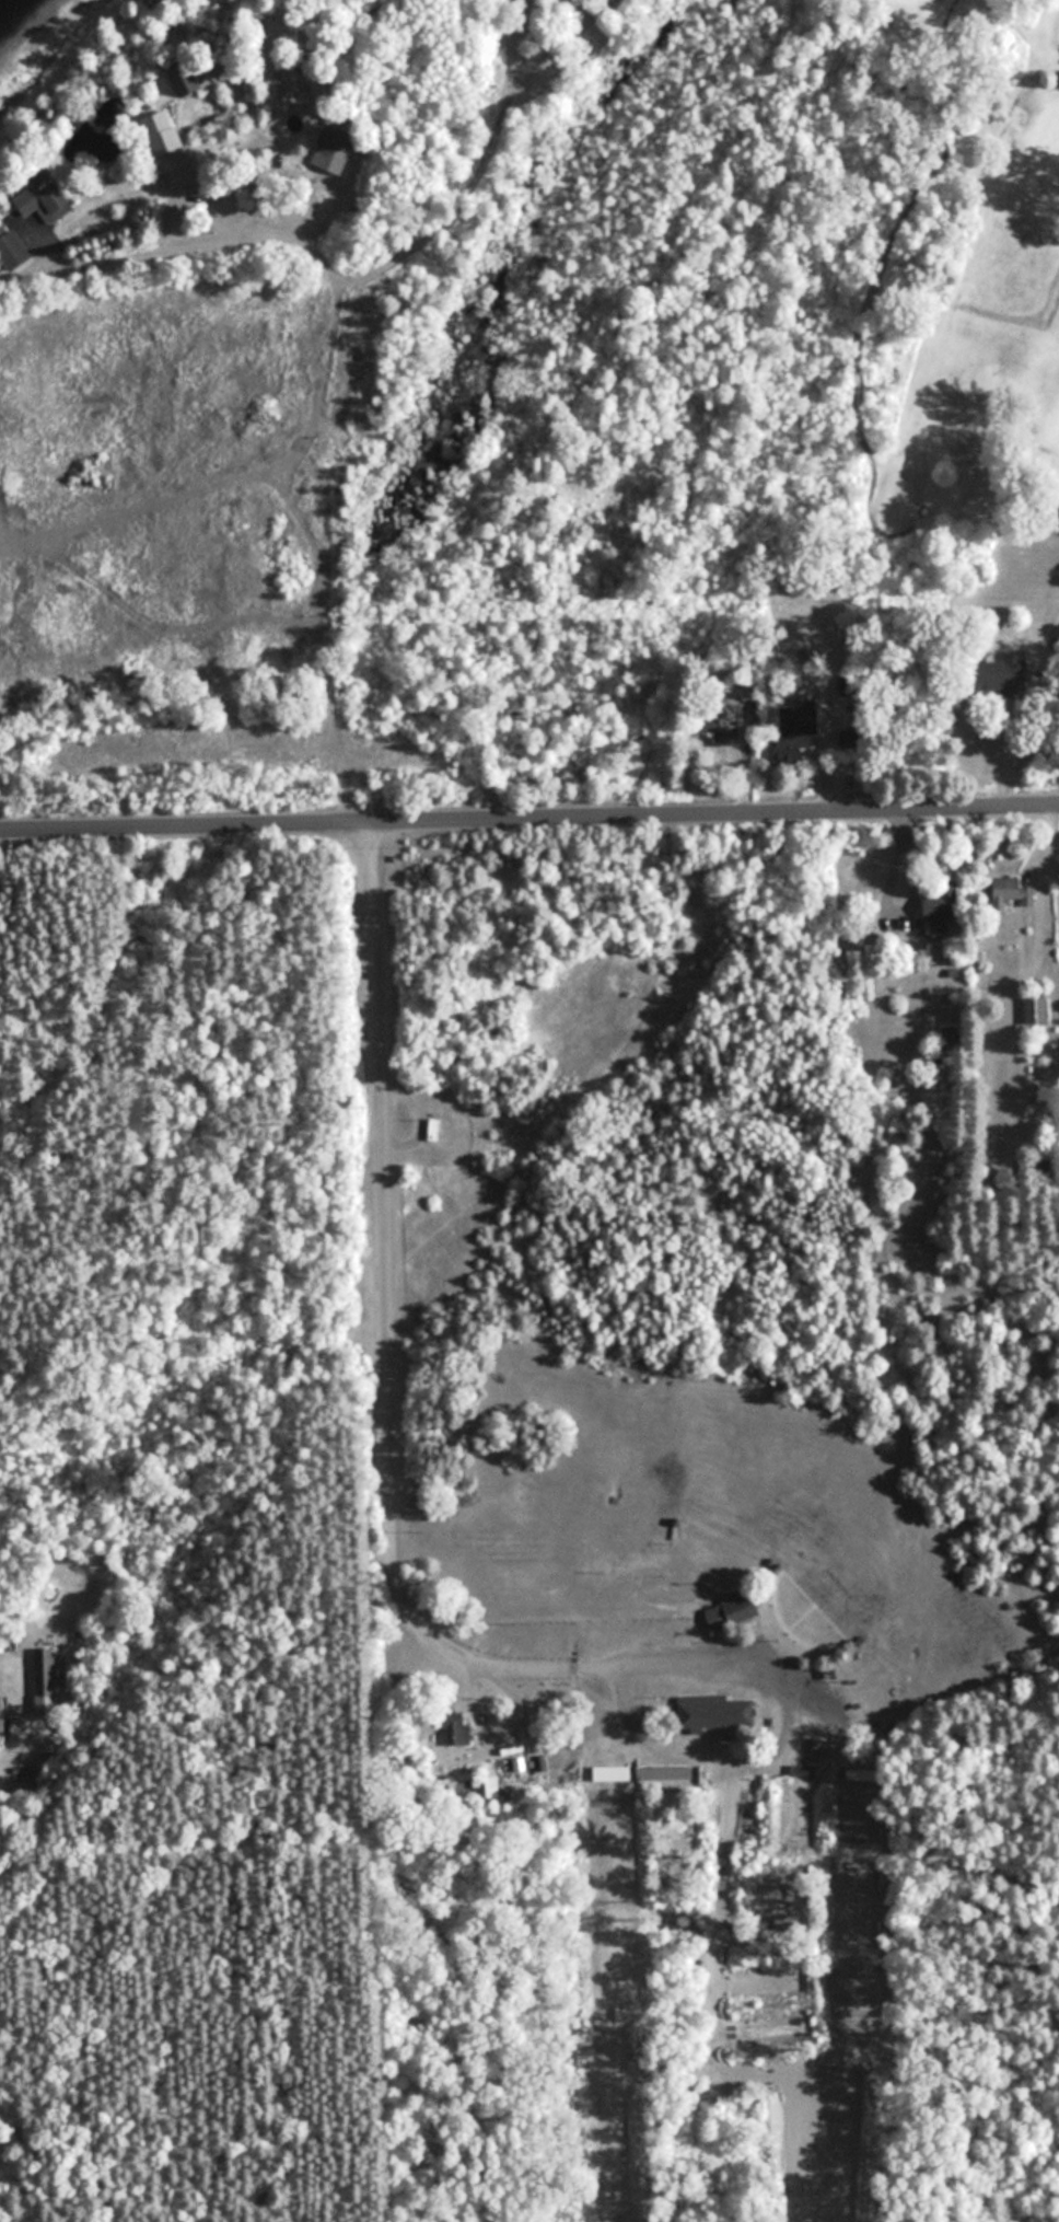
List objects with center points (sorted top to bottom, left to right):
building: (163, 132)
building: (331, 158)
building: (46, 199)
building: (12, 248)
park: (945, 305)
road: (319, 383)
road: (162, 504)
road: (23, 546)
road: (166, 626)
building: (1010, 670)
road: (1015, 711)
building: (723, 727)
building: (795, 731)
road: (529, 820)
building: (1012, 890)
building: (941, 904)
road: (94, 911)
road: (33, 917)
building: (1036, 1009)
road: (186, 1127)
building: (434, 1130)
parking lot: (365, 1265)
road: (153, 1308)
road: (260, 1323)
road: (383, 1324)
park: (422, 1527)
building: (732, 1610)
road: (149, 1615)
road: (366, 1621)
road: (780, 1674)
building: (43, 1676)
building: (711, 1698)
road: (207, 1855)
road: (366, 2036)
road: (47, 2041)

